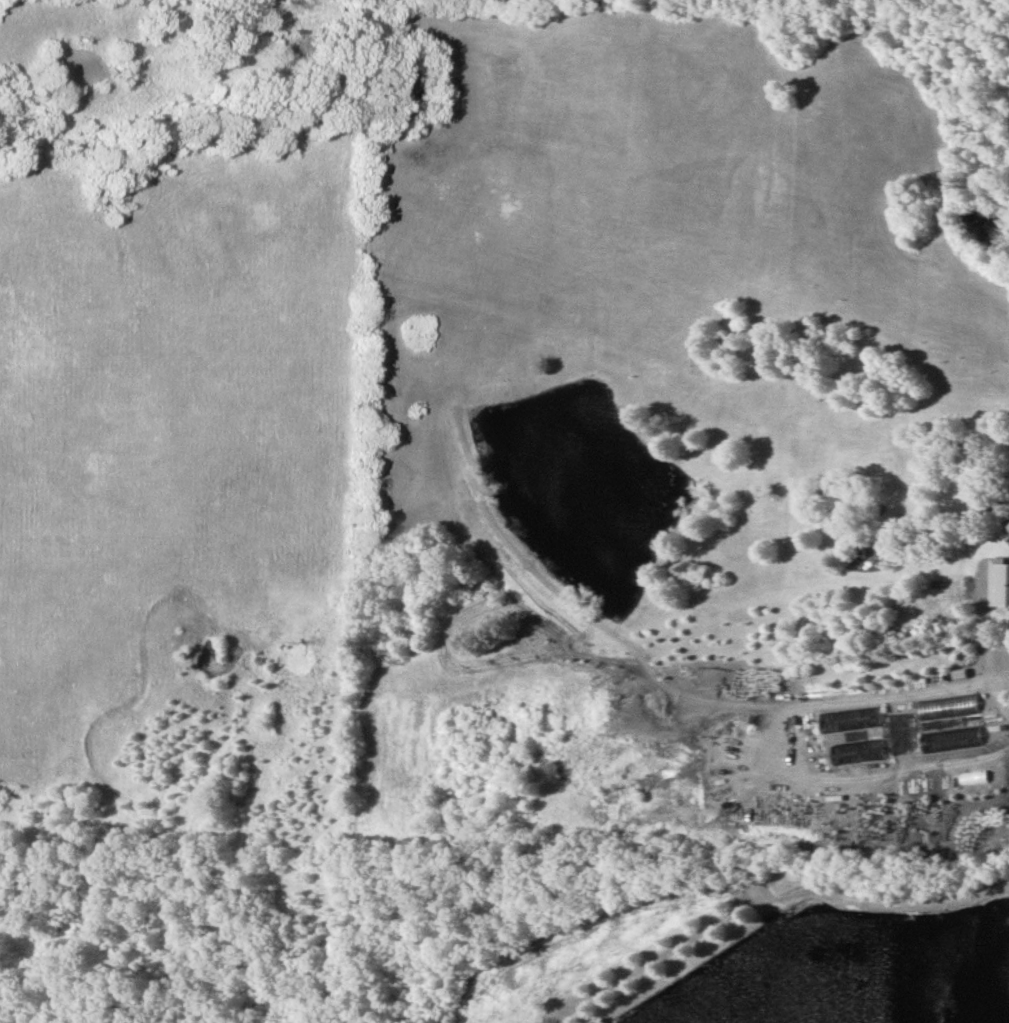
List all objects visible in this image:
road: (358, 3)
building: (1008, 524)
building: (999, 581)
road: (985, 638)
building: (942, 707)
building: (848, 757)
road: (968, 763)
road: (672, 952)
building: (595, 1022)

